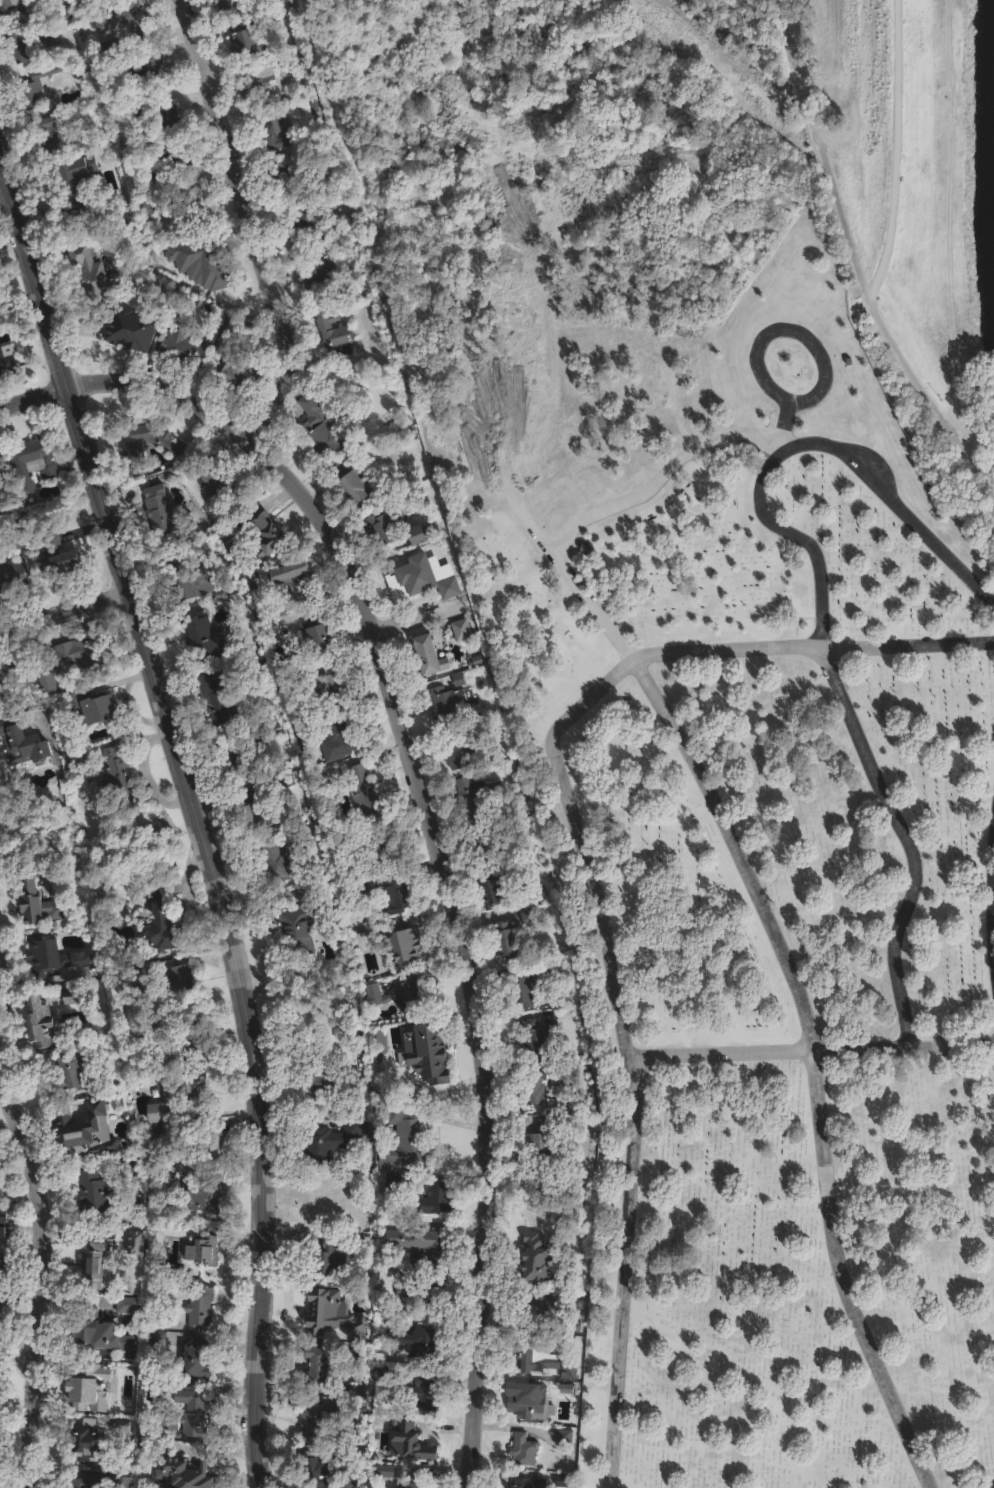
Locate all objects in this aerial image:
building: (270, 1)
building: (228, 4)
building: (11, 8)
building: (122, 21)
building: (50, 38)
building: (245, 38)
building: (21, 44)
building: (148, 67)
building: (260, 85)
building: (34, 87)
building: (157, 112)
building: (272, 134)
building: (47, 135)
road: (896, 149)
building: (172, 158)
building: (74, 176)
building: (289, 178)
building: (190, 204)
building: (142, 207)
building: (90, 209)
building: (302, 225)
building: (207, 260)
road: (853, 264)
building: (88, 270)
building: (317, 284)
building: (233, 325)
building: (131, 329)
road: (807, 329)
building: (336, 337)
building: (182, 350)
building: (7, 361)
building: (230, 374)
road: (129, 380)
building: (319, 428)
building: (152, 444)
building: (32, 461)
road: (645, 480)
building: (220, 481)
building: (348, 484)
building: (164, 515)
road: (539, 520)
building: (265, 530)
road: (802, 530)
building: (380, 531)
building: (418, 534)
road: (925, 534)
building: (16, 538)
building: (60, 556)
building: (450, 560)
building: (440, 567)
building: (404, 575)
building: (13, 576)
building: (186, 578)
building: (302, 583)
road: (63, 612)
road: (419, 616)
building: (459, 630)
building: (319, 633)
building: (203, 636)
building: (426, 655)
building: (72, 660)
building: (257, 660)
building: (7, 674)
building: (291, 676)
building: (331, 684)
building: (0, 689)
building: (216, 698)
building: (446, 701)
building: (94, 707)
road: (396, 716)
building: (301, 726)
building: (490, 726)
park: (711, 730)
building: (344, 733)
building: (25, 741)
building: (458, 747)
building: (244, 751)
building: (332, 775)
building: (117, 781)
building: (365, 792)
building: (475, 795)
building: (254, 809)
road: (197, 820)
building: (483, 841)
road: (914, 841)
building: (372, 843)
building: (277, 865)
building: (51, 877)
road: (597, 878)
building: (491, 890)
building: (155, 891)
building: (307, 893)
building: (536, 893)
building: (396, 895)
building: (39, 904)
building: (528, 918)
building: (302, 927)
building: (162, 930)
building: (369, 938)
building: (505, 940)
building: (403, 946)
building: (114, 955)
building: (49, 960)
building: (524, 984)
building: (171, 986)
building: (400, 994)
building: (305, 995)
building: (69, 997)
building: (35, 1024)
building: (147, 1027)
building: (186, 1040)
building: (537, 1040)
road: (907, 1048)
road: (726, 1052)
building: (418, 1058)
road: (821, 1060)
building: (75, 1070)
building: (318, 1085)
building: (551, 1085)
building: (186, 1089)
building: (362, 1091)
building: (157, 1112)
building: (82, 1130)
building: (403, 1138)
building: (184, 1139)
building: (332, 1141)
building: (542, 1146)
building: (127, 1167)
building: (0, 1169)
building: (361, 1179)
building: (391, 1184)
building: (94, 1196)
building: (436, 1198)
building: (162, 1199)
building: (326, 1205)
building: (3, 1223)
building: (423, 1245)
building: (202, 1248)
road: (39, 1255)
building: (91, 1257)
building: (0, 1258)
building: (329, 1259)
building: (535, 1262)
building: (1, 1269)
building: (425, 1296)
building: (199, 1305)
building: (319, 1305)
building: (530, 1308)
building: (102, 1323)
building: (157, 1337)
building: (418, 1341)
building: (534, 1356)
building: (195, 1361)
building: (317, 1367)
building: (380, 1374)
building: (565, 1375)
building: (89, 1387)
building: (566, 1387)
building: (358, 1388)
building: (425, 1393)
building: (530, 1401)
building: (186, 1414)
building: (321, 1420)
building: (104, 1424)
building: (563, 1436)
building: (82, 1443)
building: (408, 1443)
building: (523, 1449)
building: (383, 1471)
building: (183, 1473)
building: (317, 1473)
building: (563, 1480)
building: (119, 1482)
building: (417, 1482)
building: (87, 1483)
building: (527, 1483)

